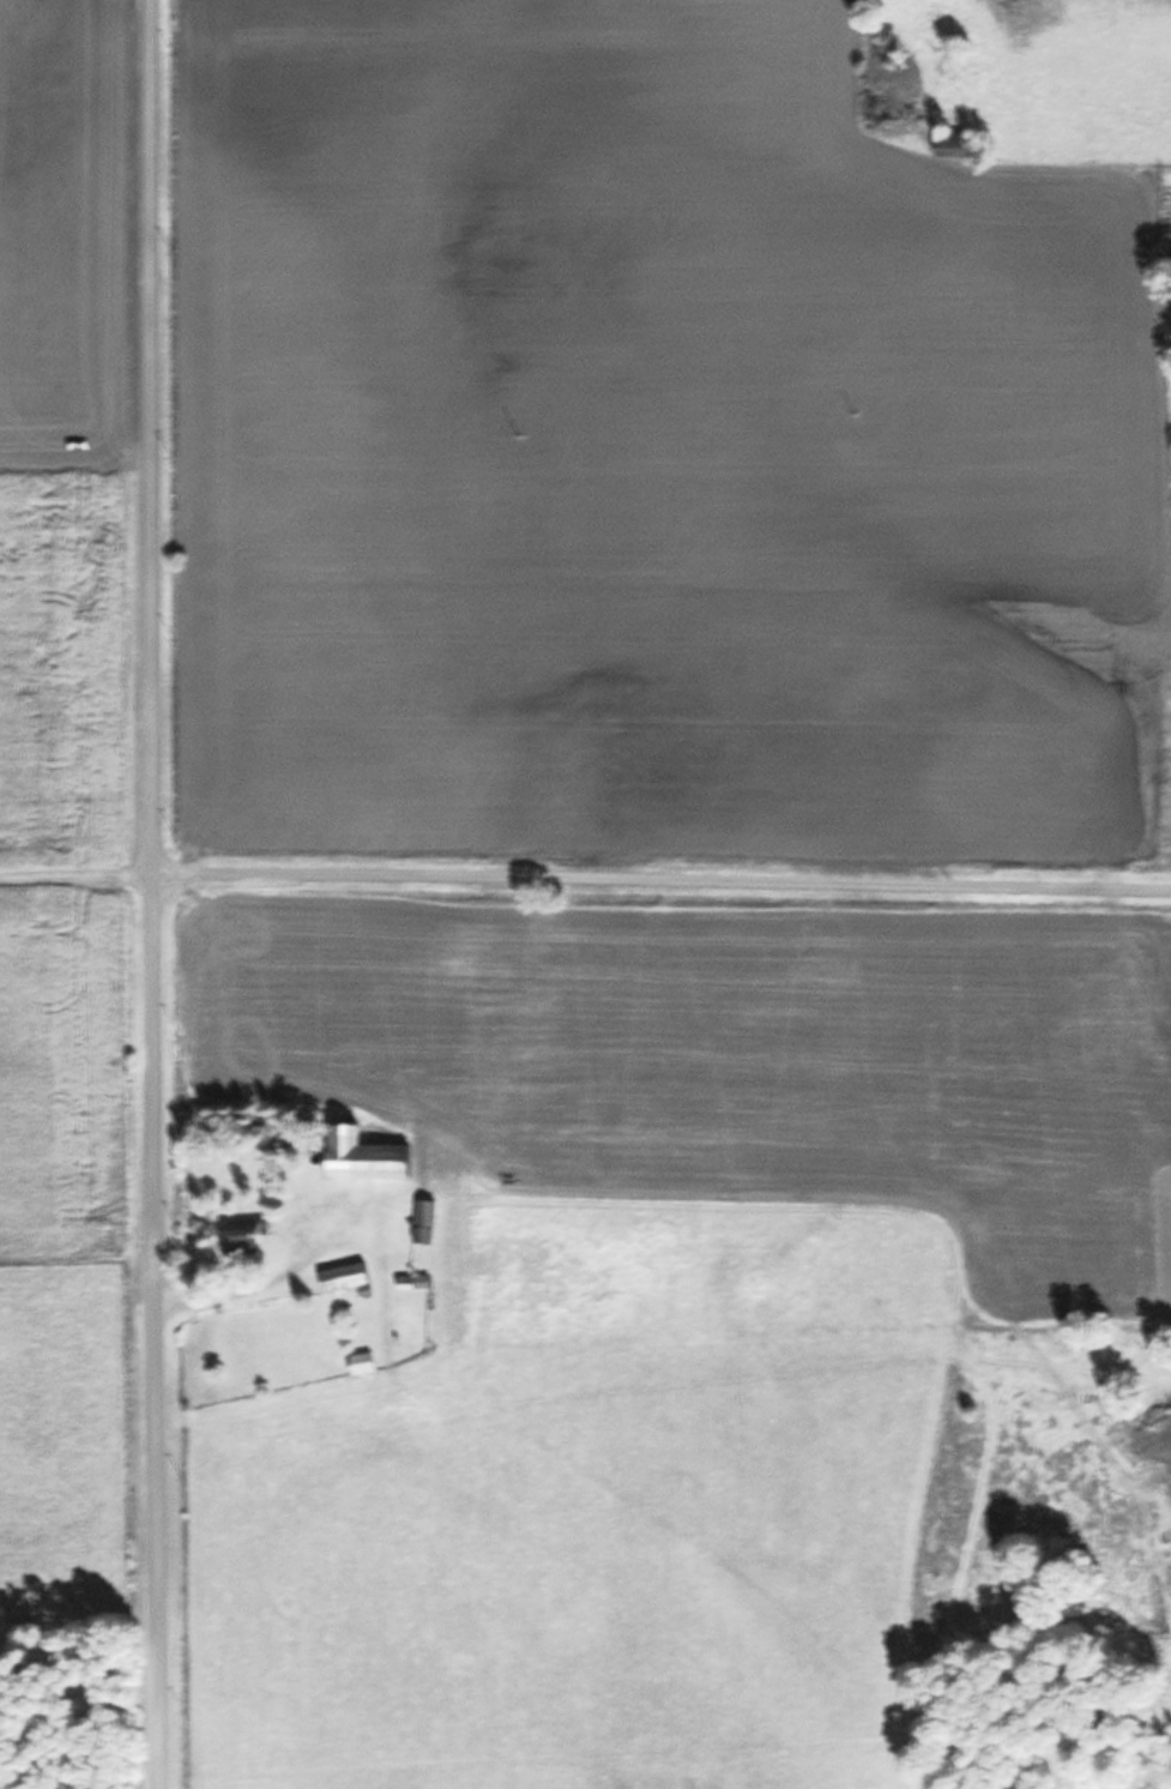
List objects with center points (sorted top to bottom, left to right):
building: (952, 143)
road: (77, 878)
road: (663, 885)
road: (155, 894)
building: (375, 1156)
building: (425, 1221)
building: (248, 1236)
building: (345, 1277)
building: (363, 1363)

